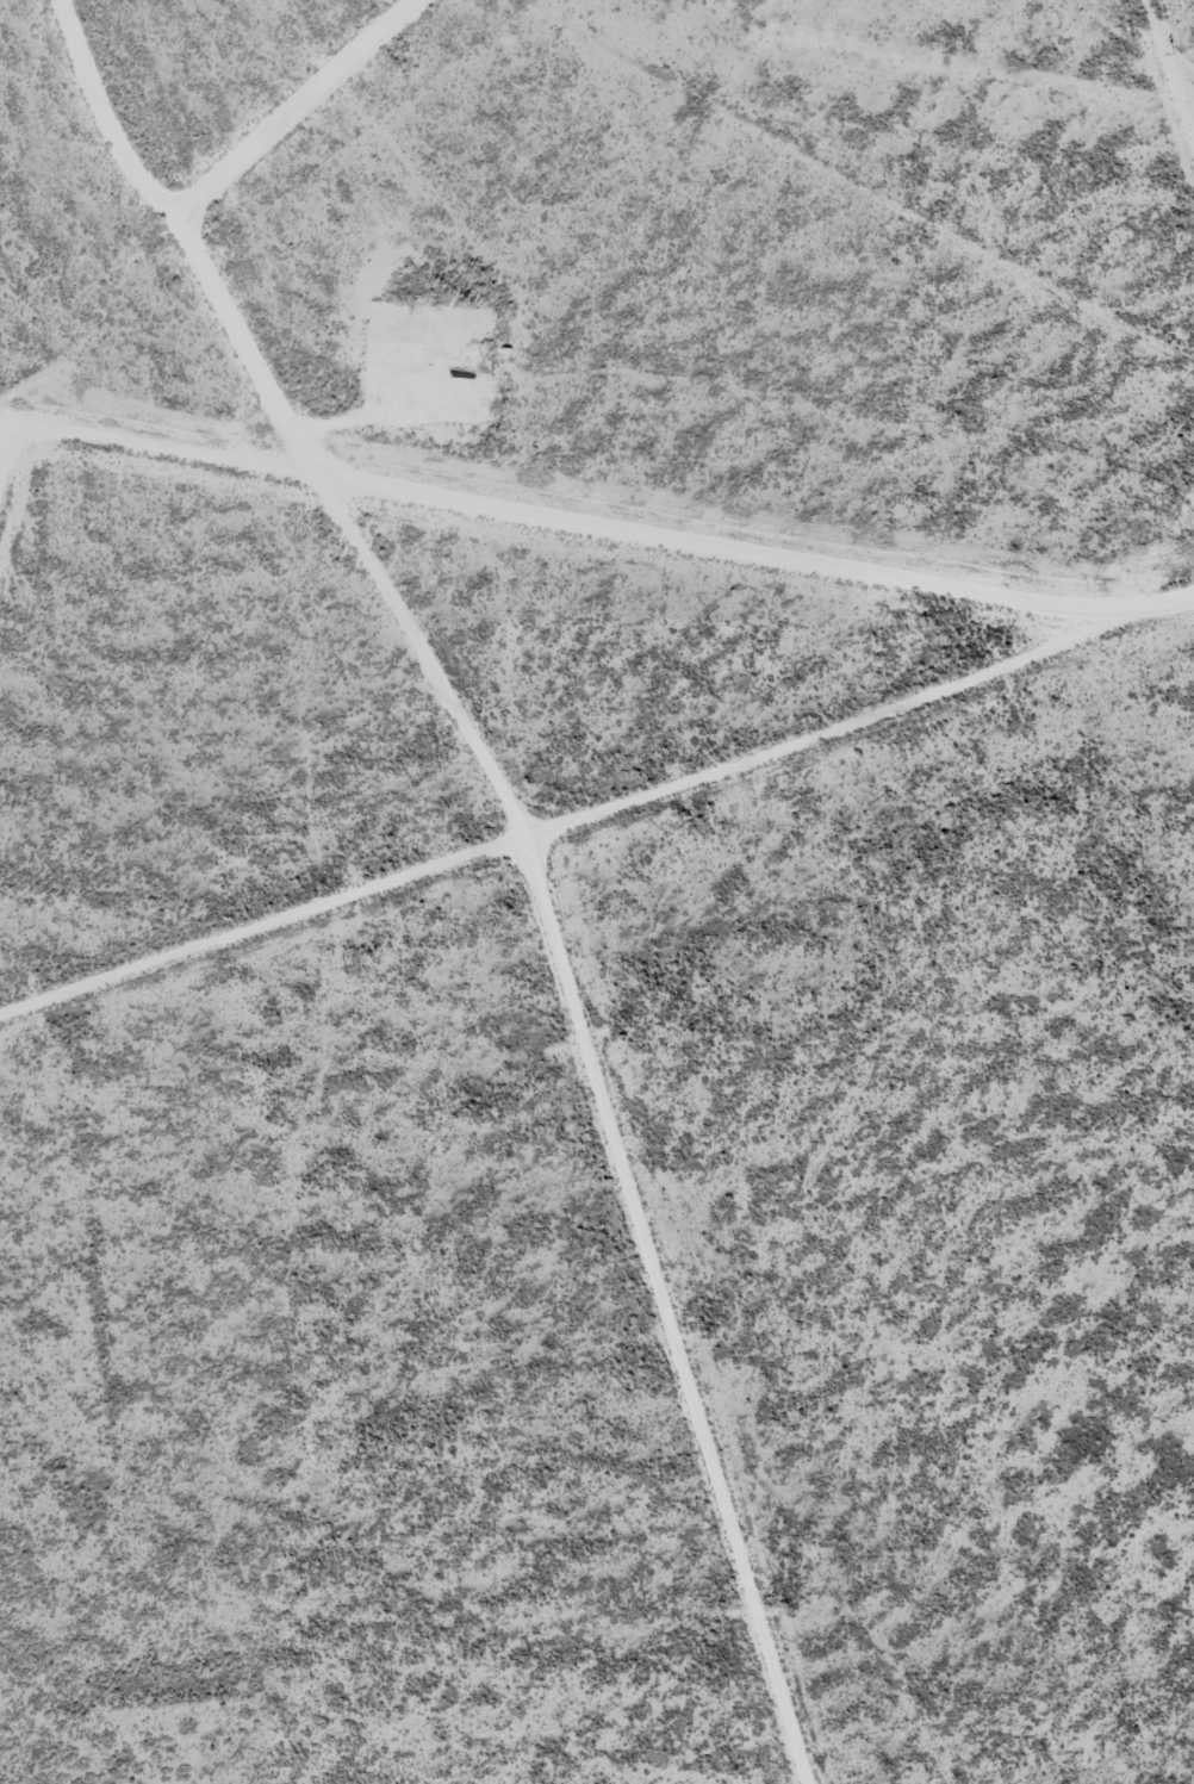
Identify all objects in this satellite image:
road: (595, 823)
road: (572, 958)

